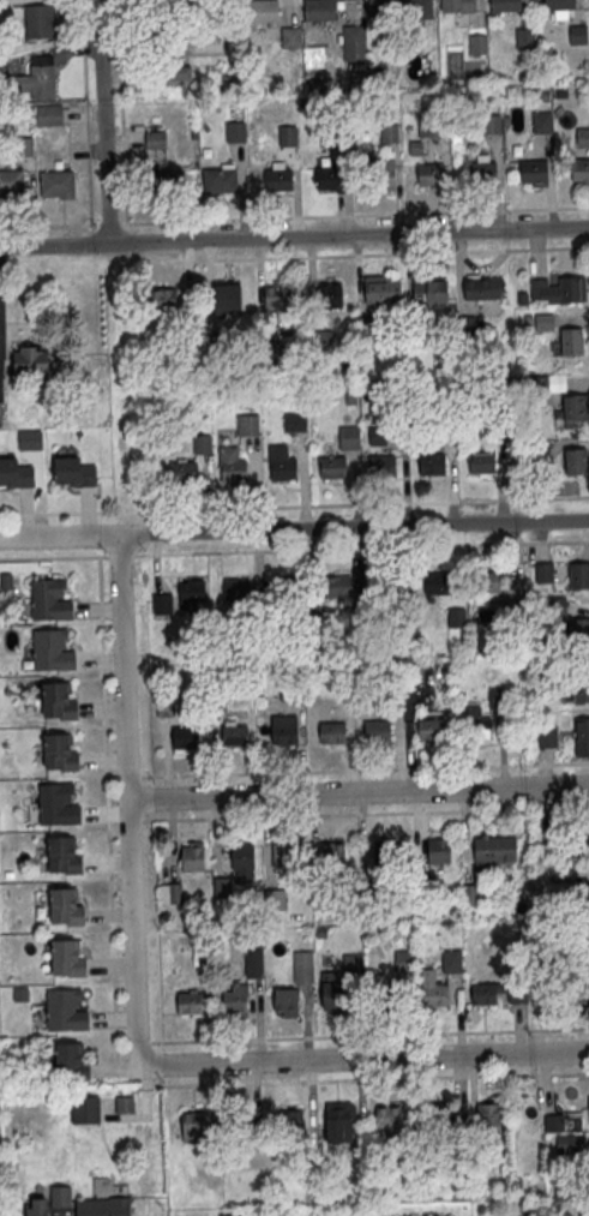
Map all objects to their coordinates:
building: (506, 5)
building: (560, 5)
building: (457, 6)
building: (378, 7)
building: (420, 8)
building: (319, 11)
building: (264, 12)
building: (38, 20)
building: (578, 35)
building: (292, 38)
building: (525, 38)
building: (355, 43)
building: (479, 46)
building: (161, 47)
building: (42, 80)
building: (29, 113)
building: (50, 116)
building: (542, 122)
road: (103, 124)
building: (492, 124)
building: (427, 126)
building: (439, 127)
building: (236, 132)
building: (389, 133)
building: (288, 136)
building: (337, 138)
building: (583, 138)
building: (157, 139)
building: (23, 148)
road: (88, 157)
building: (581, 169)
building: (483, 173)
building: (534, 173)
building: (381, 174)
building: (432, 175)
building: (330, 179)
building: (220, 180)
building: (280, 180)
building: (12, 184)
building: (168, 184)
building: (59, 185)
road: (297, 218)
road: (294, 239)
road: (362, 256)
building: (482, 287)
building: (559, 288)
building: (381, 289)
building: (429, 290)
building: (278, 295)
building: (331, 295)
building: (229, 298)
building: (162, 304)
building: (420, 336)
building: (570, 340)
building: (321, 342)
building: (220, 343)
building: (30, 358)
building: (536, 387)
building: (573, 407)
building: (0, 417)
building: (296, 423)
building: (248, 426)
building: (349, 437)
building: (30, 441)
building: (203, 444)
building: (575, 461)
building: (482, 463)
building: (282, 465)
building: (431, 465)
building: (233, 466)
building: (383, 466)
building: (332, 468)
building: (74, 473)
building: (185, 473)
building: (16, 474)
road: (294, 507)
road: (294, 529)
road: (294, 551)
building: (543, 573)
building: (578, 575)
building: (487, 582)
building: (438, 583)
building: (338, 586)
building: (387, 586)
building: (289, 588)
building: (238, 589)
building: (193, 591)
building: (50, 601)
building: (162, 603)
building: (456, 616)
building: (579, 630)
building: (52, 651)
building: (581, 689)
building: (497, 697)
building: (58, 701)
building: (477, 729)
building: (431, 730)
building: (284, 731)
building: (378, 731)
building: (332, 733)
building: (236, 736)
building: (546, 736)
building: (582, 736)
building: (186, 737)
building: (60, 753)
road: (365, 769)
road: (360, 792)
road: (131, 802)
building: (58, 805)
road: (360, 815)
road: (108, 817)
building: (585, 835)
building: (488, 849)
building: (440, 851)
building: (386, 853)
building: (65, 856)
building: (293, 856)
building: (244, 857)
building: (335, 857)
building: (193, 859)
building: (563, 873)
building: (422, 886)
building: (221, 887)
building: (374, 891)
building: (170, 893)
building: (473, 895)
building: (584, 895)
building: (324, 898)
building: (275, 900)
building: (67, 907)
building: (585, 954)
building: (68, 958)
building: (254, 963)
building: (453, 963)
building: (355, 965)
building: (302, 968)
building: (485, 994)
building: (435, 998)
building: (587, 998)
building: (336, 999)
building: (386, 999)
building: (287, 1000)
building: (236, 1002)
building: (190, 1004)
building: (66, 1012)
road: (369, 1037)
road: (368, 1059)
building: (72, 1062)
road: (377, 1080)
building: (127, 1104)
building: (85, 1109)
building: (588, 1109)
building: (338, 1114)
building: (491, 1115)
building: (438, 1116)
building: (389, 1118)
building: (293, 1121)
building: (242, 1122)
building: (196, 1124)
building: (552, 1124)
building: (566, 1144)
building: (585, 1158)
building: (61, 1197)
building: (37, 1206)
building: (104, 1208)
building: (232, 1215)

